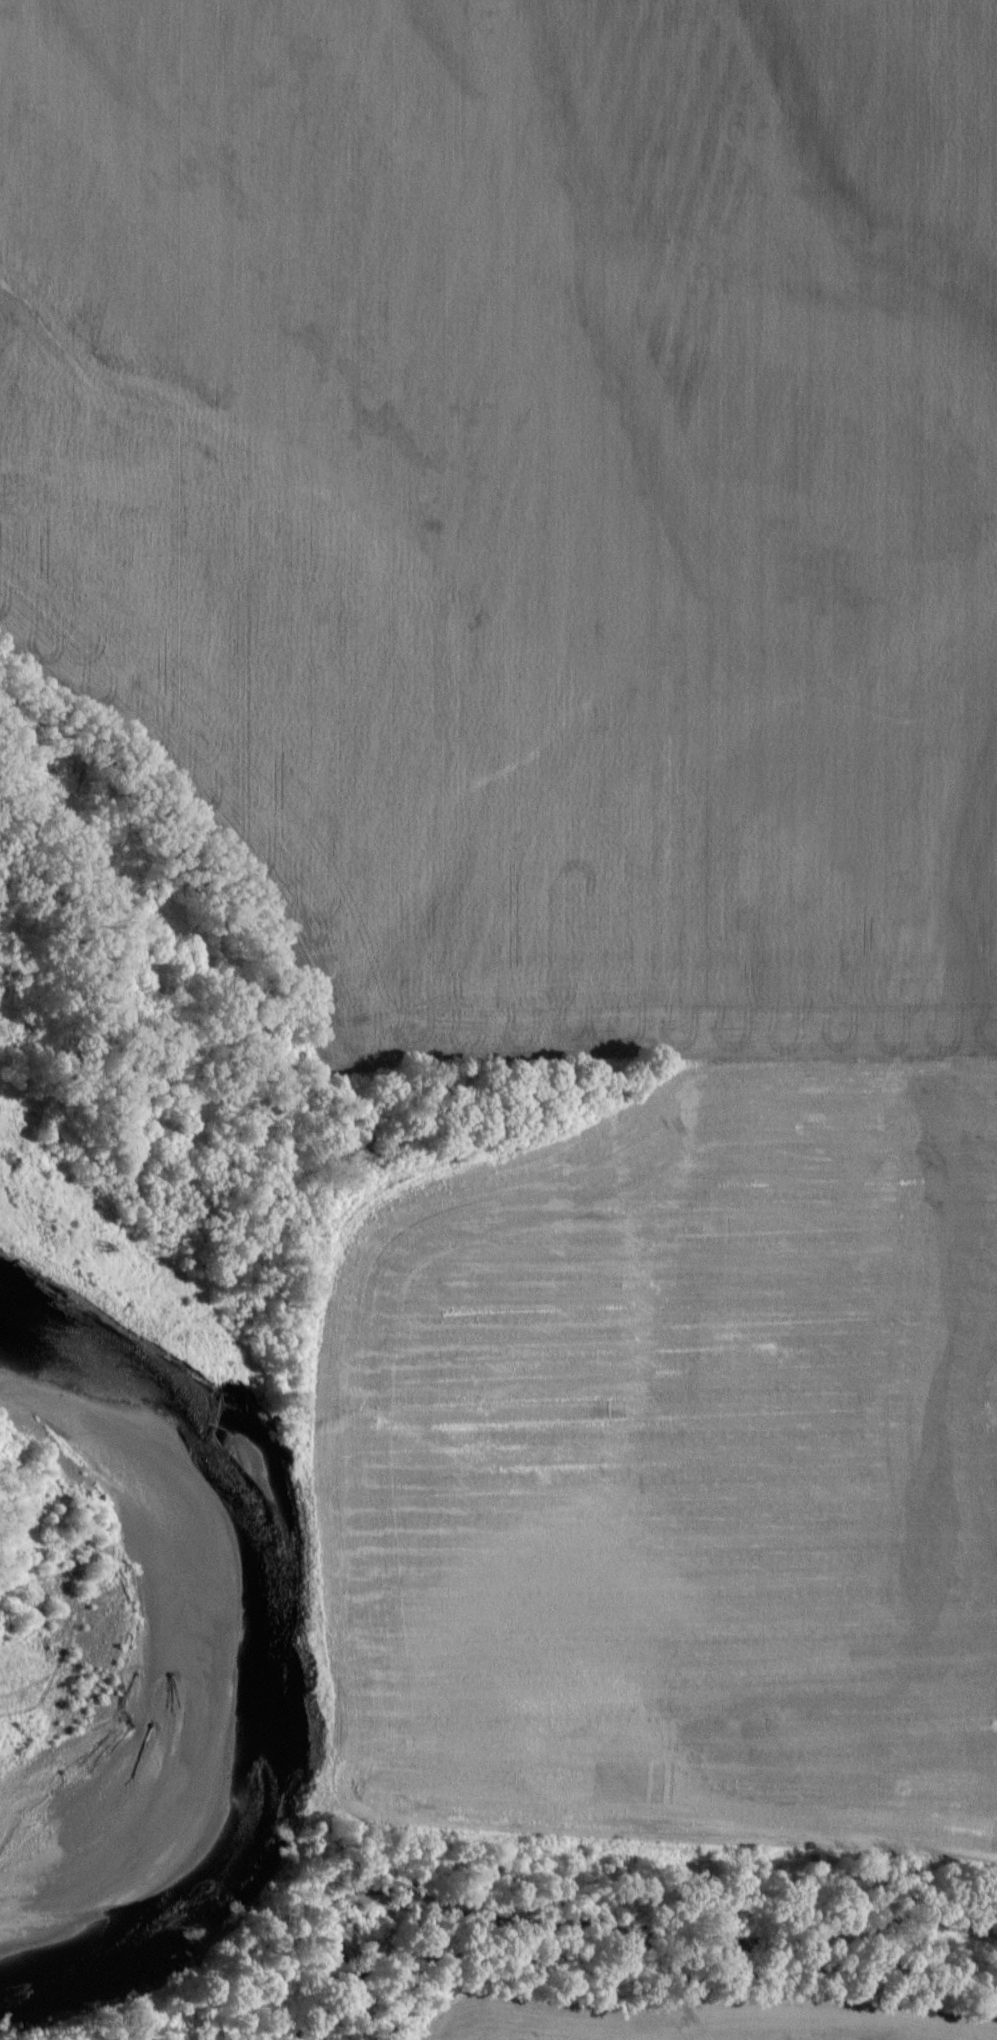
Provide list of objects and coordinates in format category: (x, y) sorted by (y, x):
river: (190, 1493)

